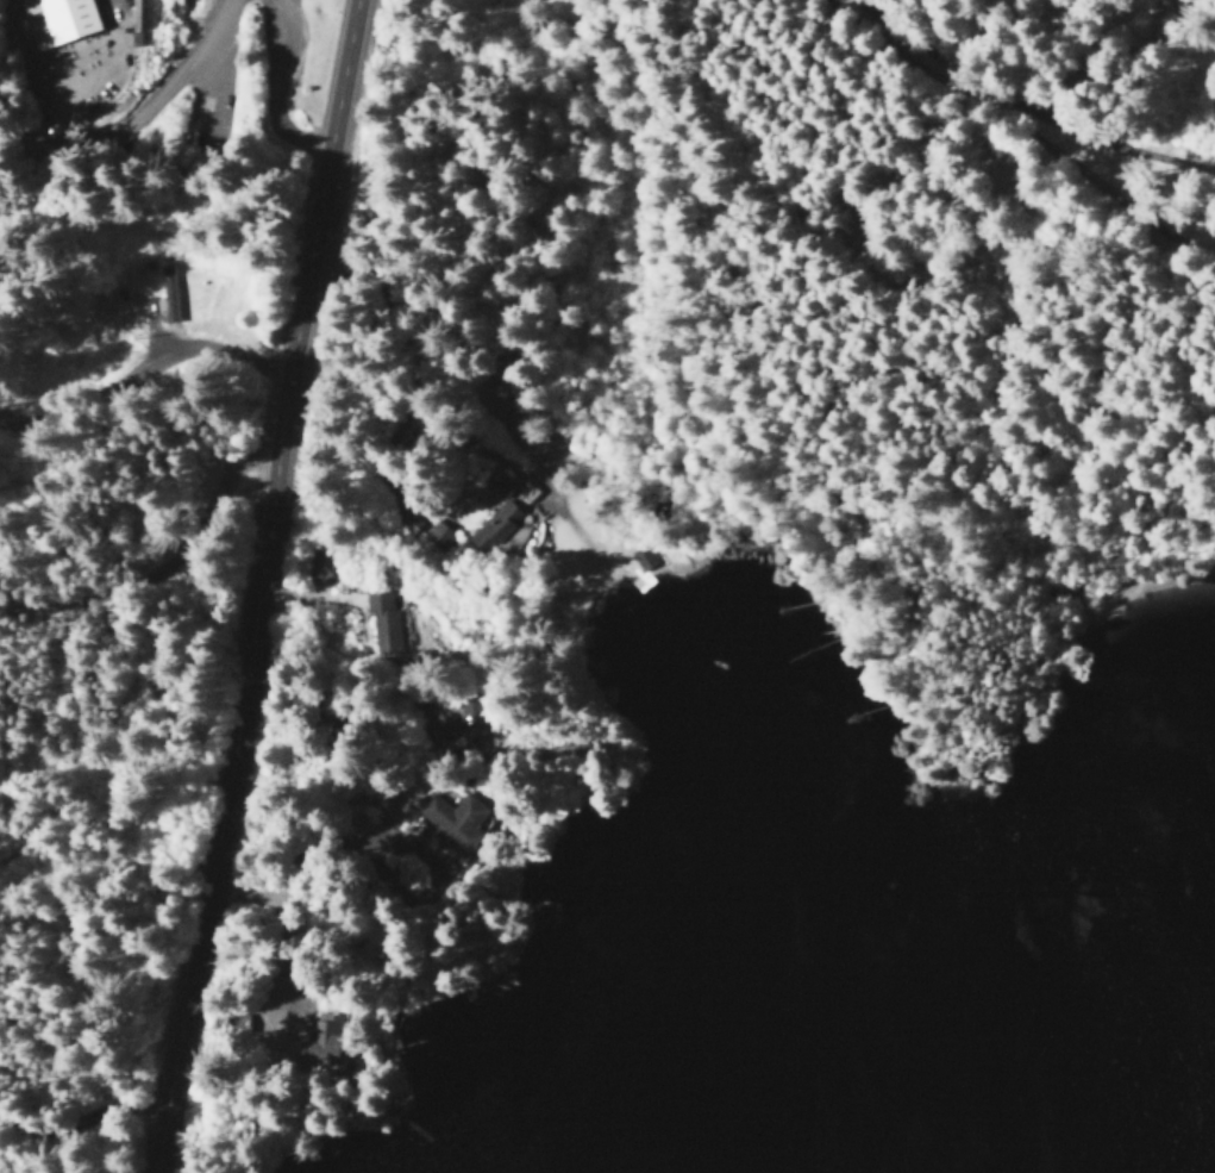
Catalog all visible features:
building: (55, 19)
road: (275, 91)
road: (308, 270)
road: (818, 272)
building: (165, 285)
road: (1138, 295)
building: (496, 481)
building: (524, 488)
building: (495, 520)
building: (434, 532)
building: (640, 557)
building: (382, 623)
building: (452, 822)
road: (206, 856)
building: (320, 1043)

